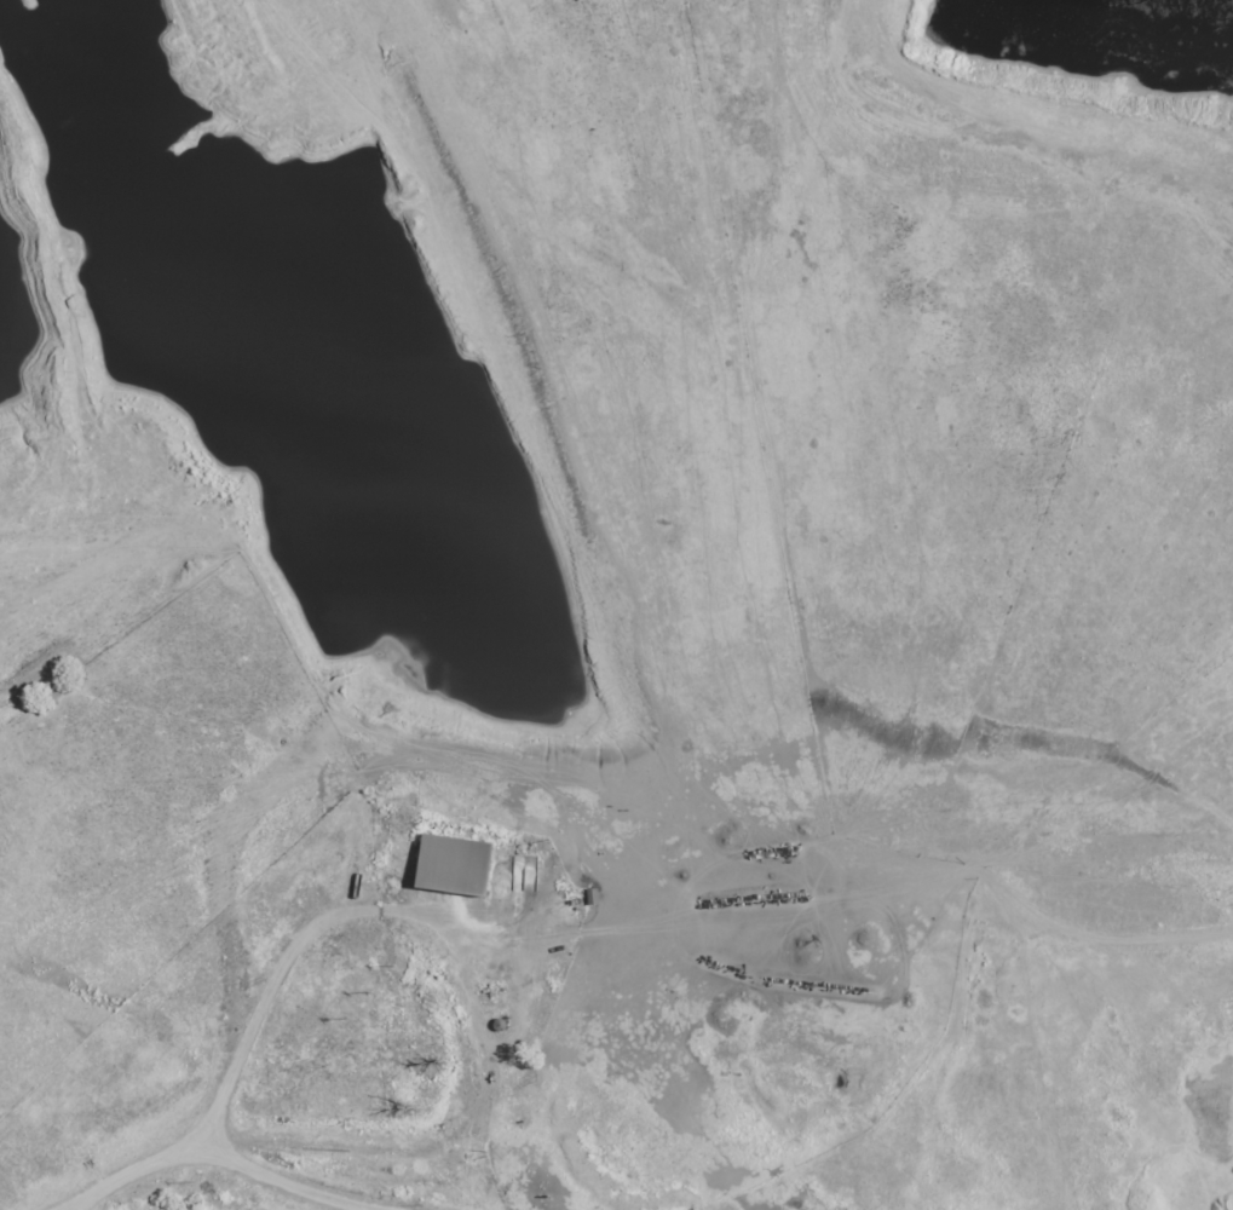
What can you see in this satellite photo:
building: (456, 864)
road: (900, 888)
road: (317, 945)
road: (327, 1137)

